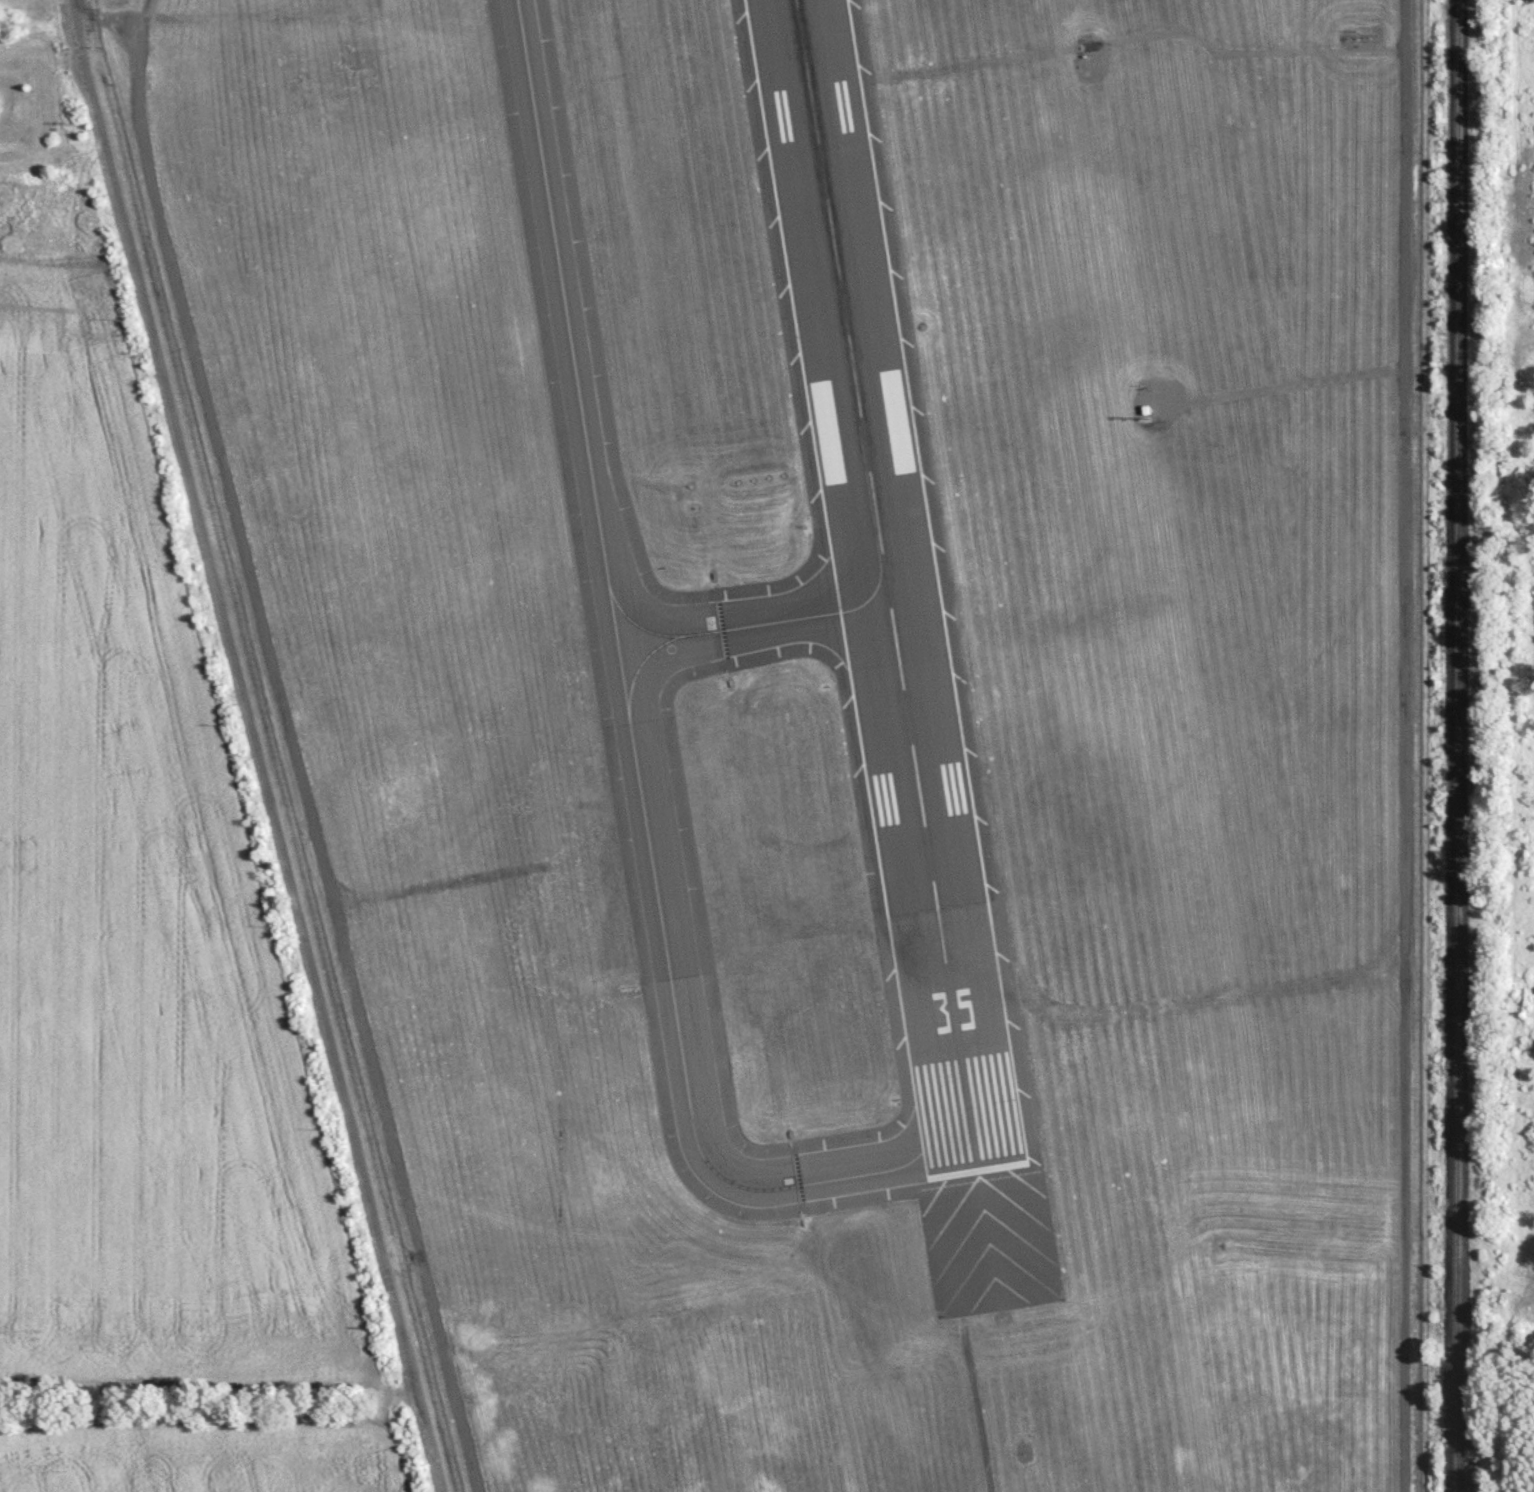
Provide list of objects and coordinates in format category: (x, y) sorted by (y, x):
road: (103, 22)
road: (76, 49)
airport runway: (887, 584)
airport taxiway: (610, 589)
airport taxiway: (757, 627)
airport taxiway: (640, 670)
airport: (845, 705)
road: (1406, 745)
railway: (1457, 746)
road: (292, 747)
road: (263, 795)
crop: (133, 931)
airport taxiway: (851, 1179)
road: (973, 1411)

